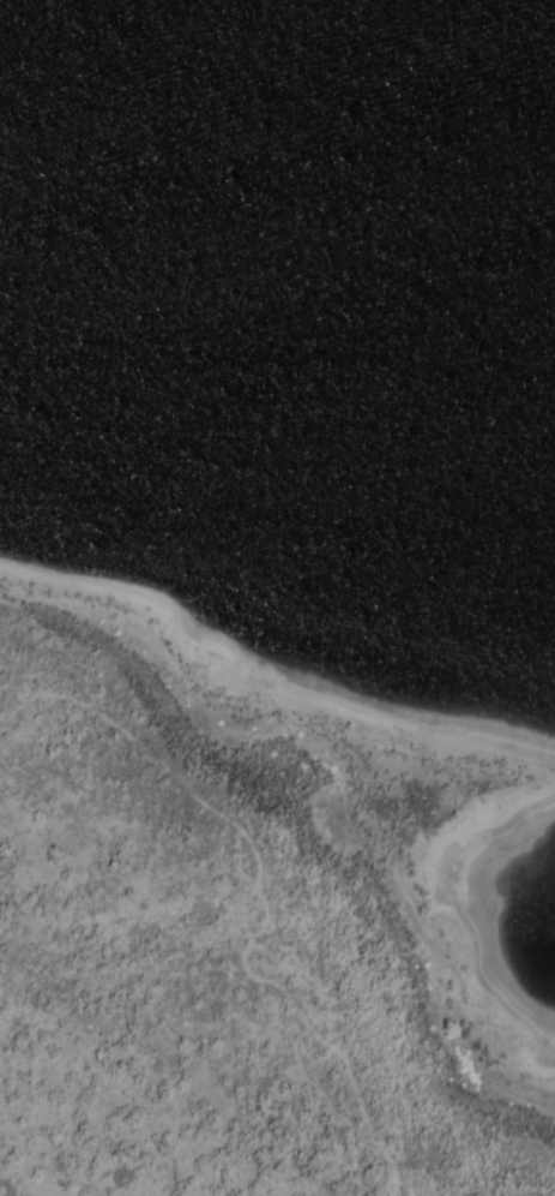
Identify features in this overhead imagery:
road: (44, 911)
road: (25, 1126)

